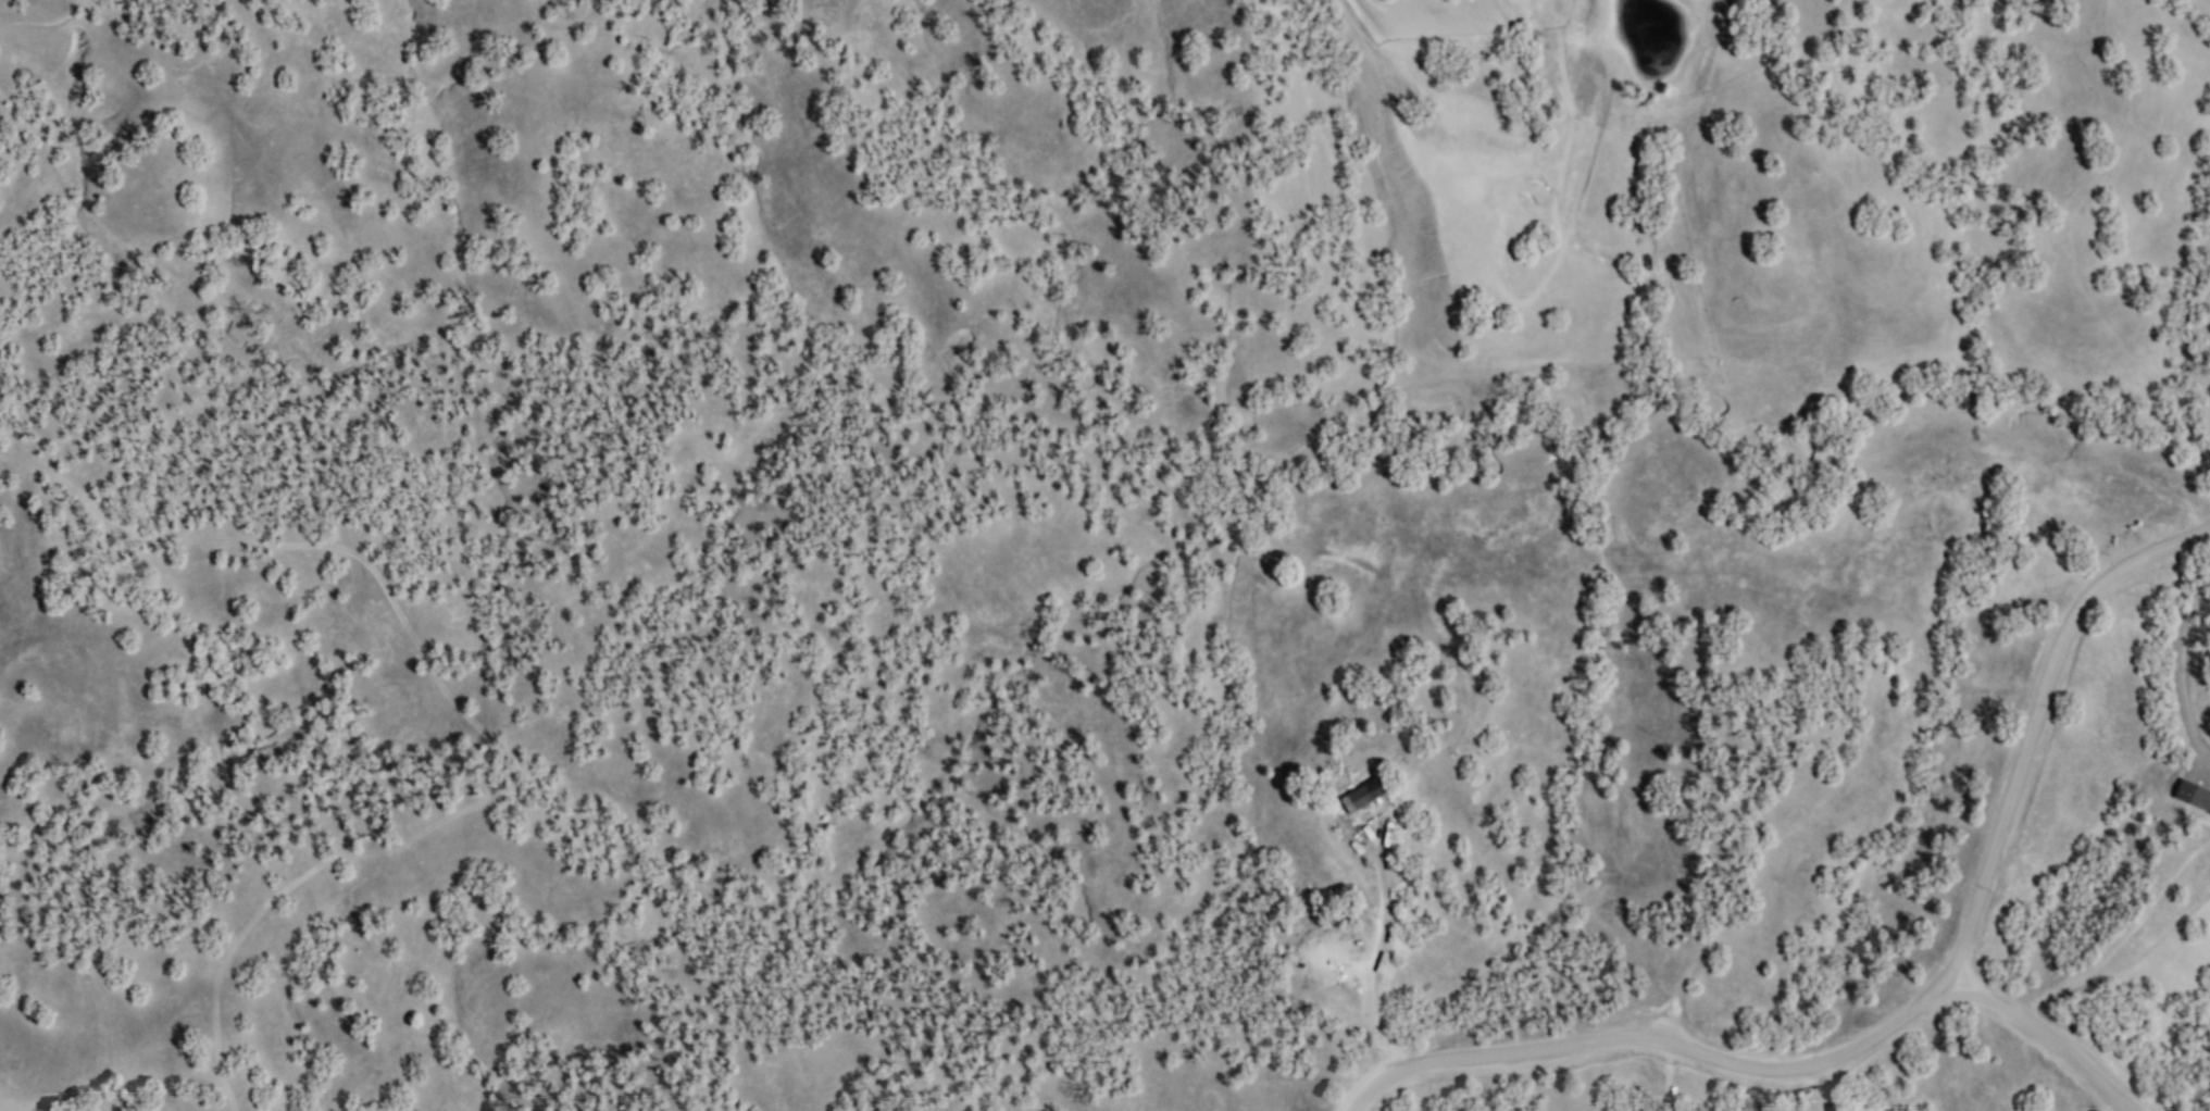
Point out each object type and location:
road: (2183, 670)
road: (2036, 713)
building: (2193, 794)
building: (2209, 812)
road: (1378, 962)
road: (2050, 1037)
road: (1662, 1041)

